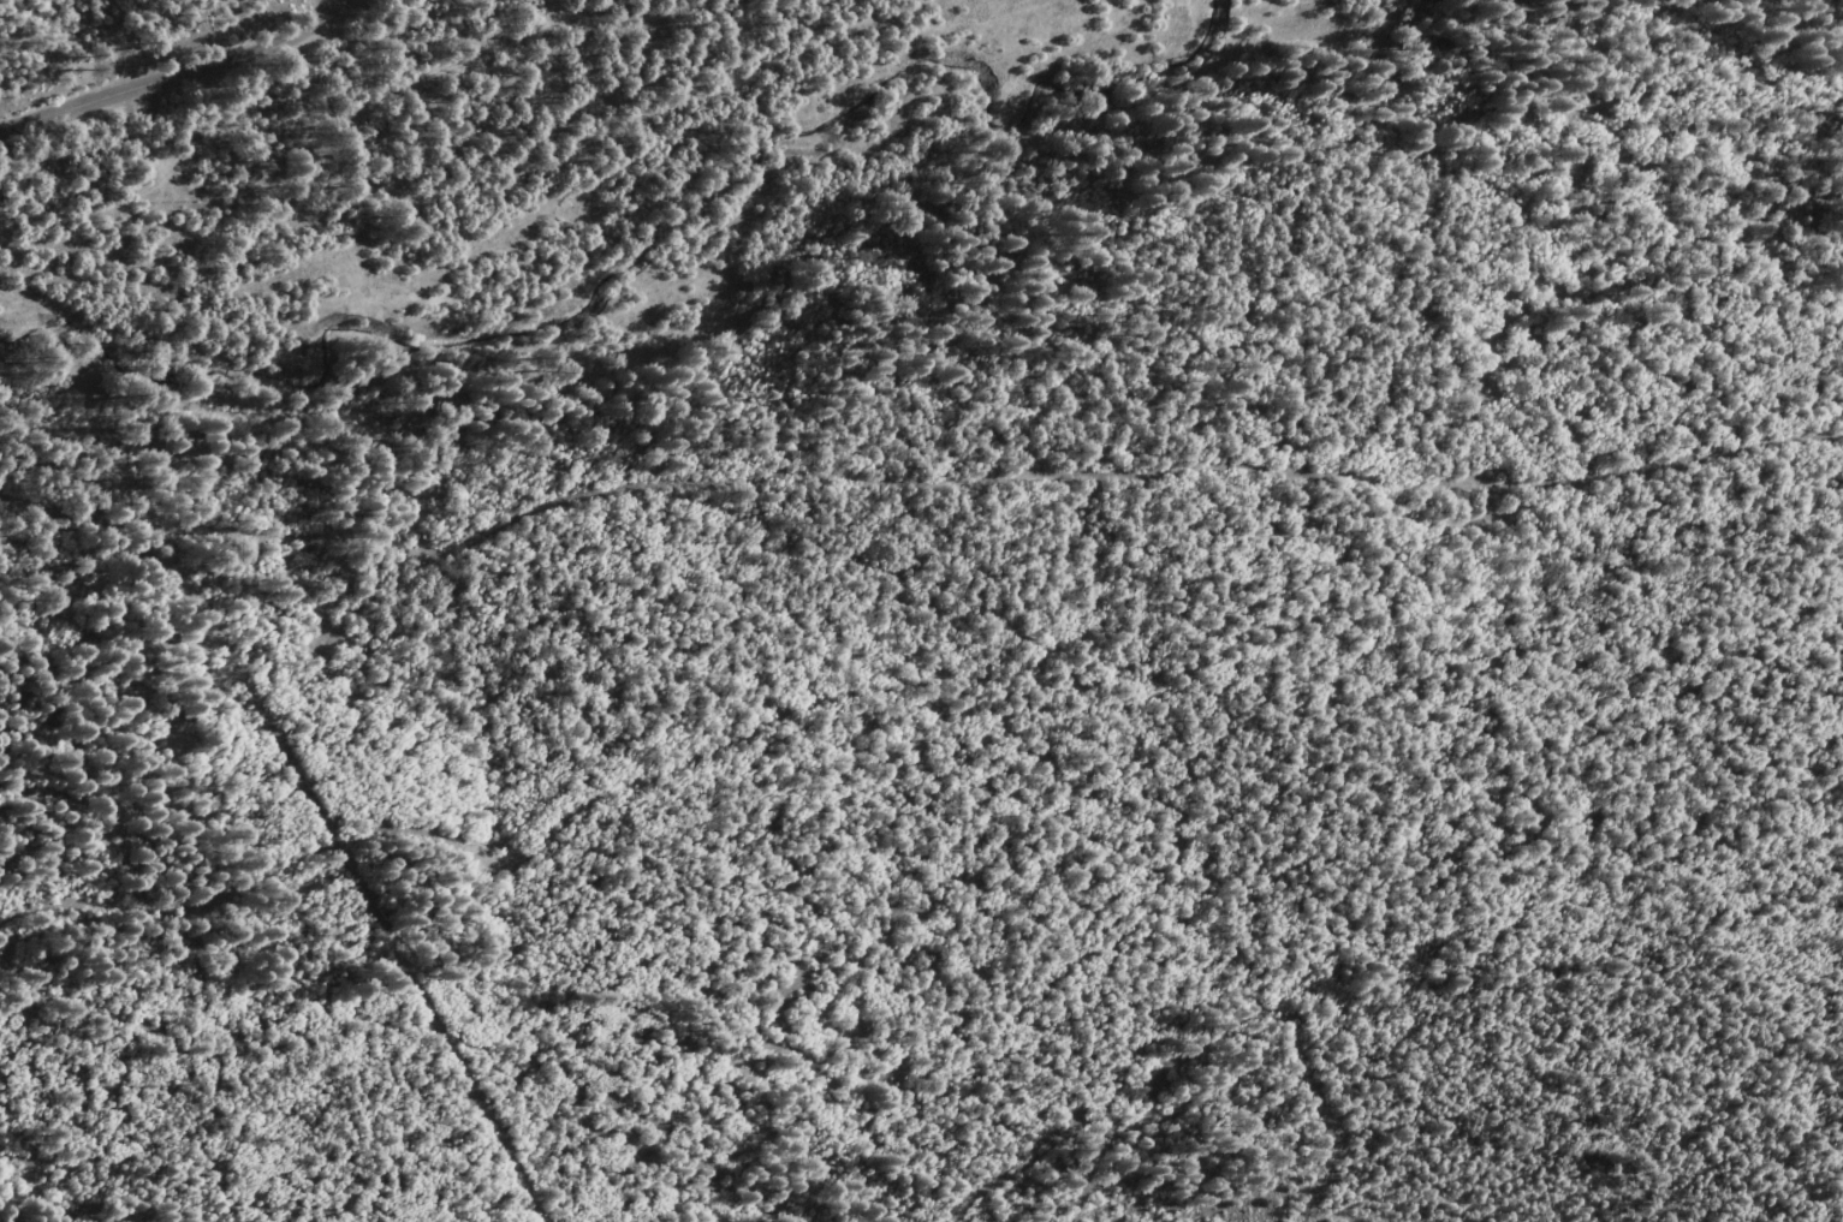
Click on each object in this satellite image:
road: (183, 83)

